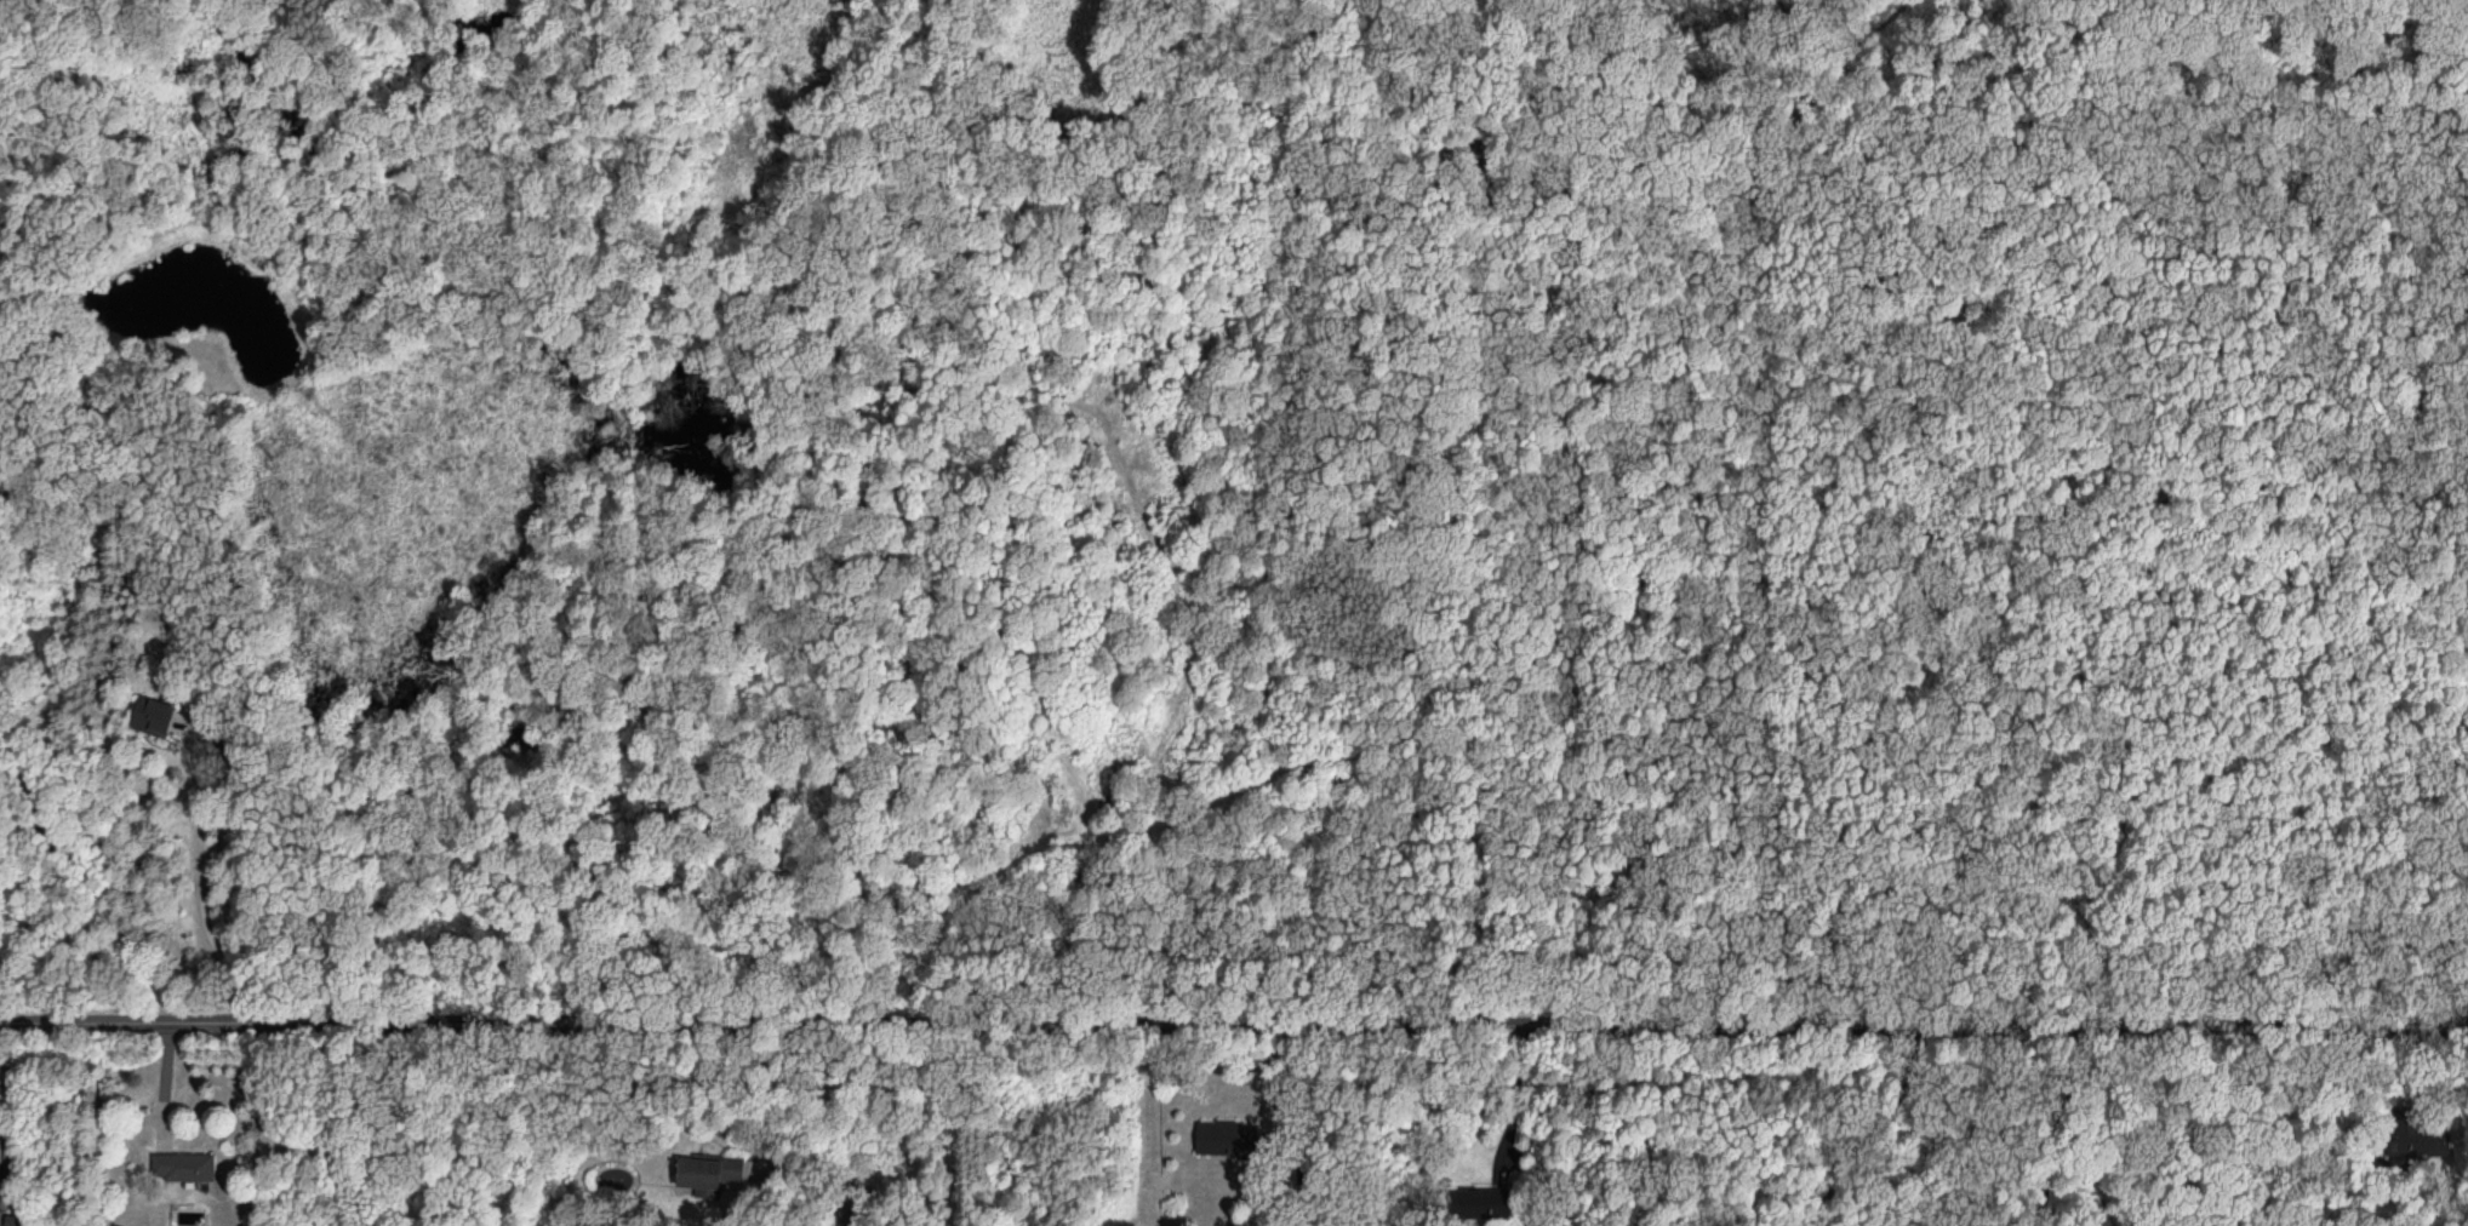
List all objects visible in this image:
building: (153, 714)
road: (194, 886)
road: (1234, 1024)
road: (159, 1087)
road: (1518, 1090)
road: (2056, 1123)
building: (2416, 1133)
building: (1227, 1136)
road: (0, 1148)
building: (182, 1168)
building: (708, 1169)
building: (1480, 1201)

